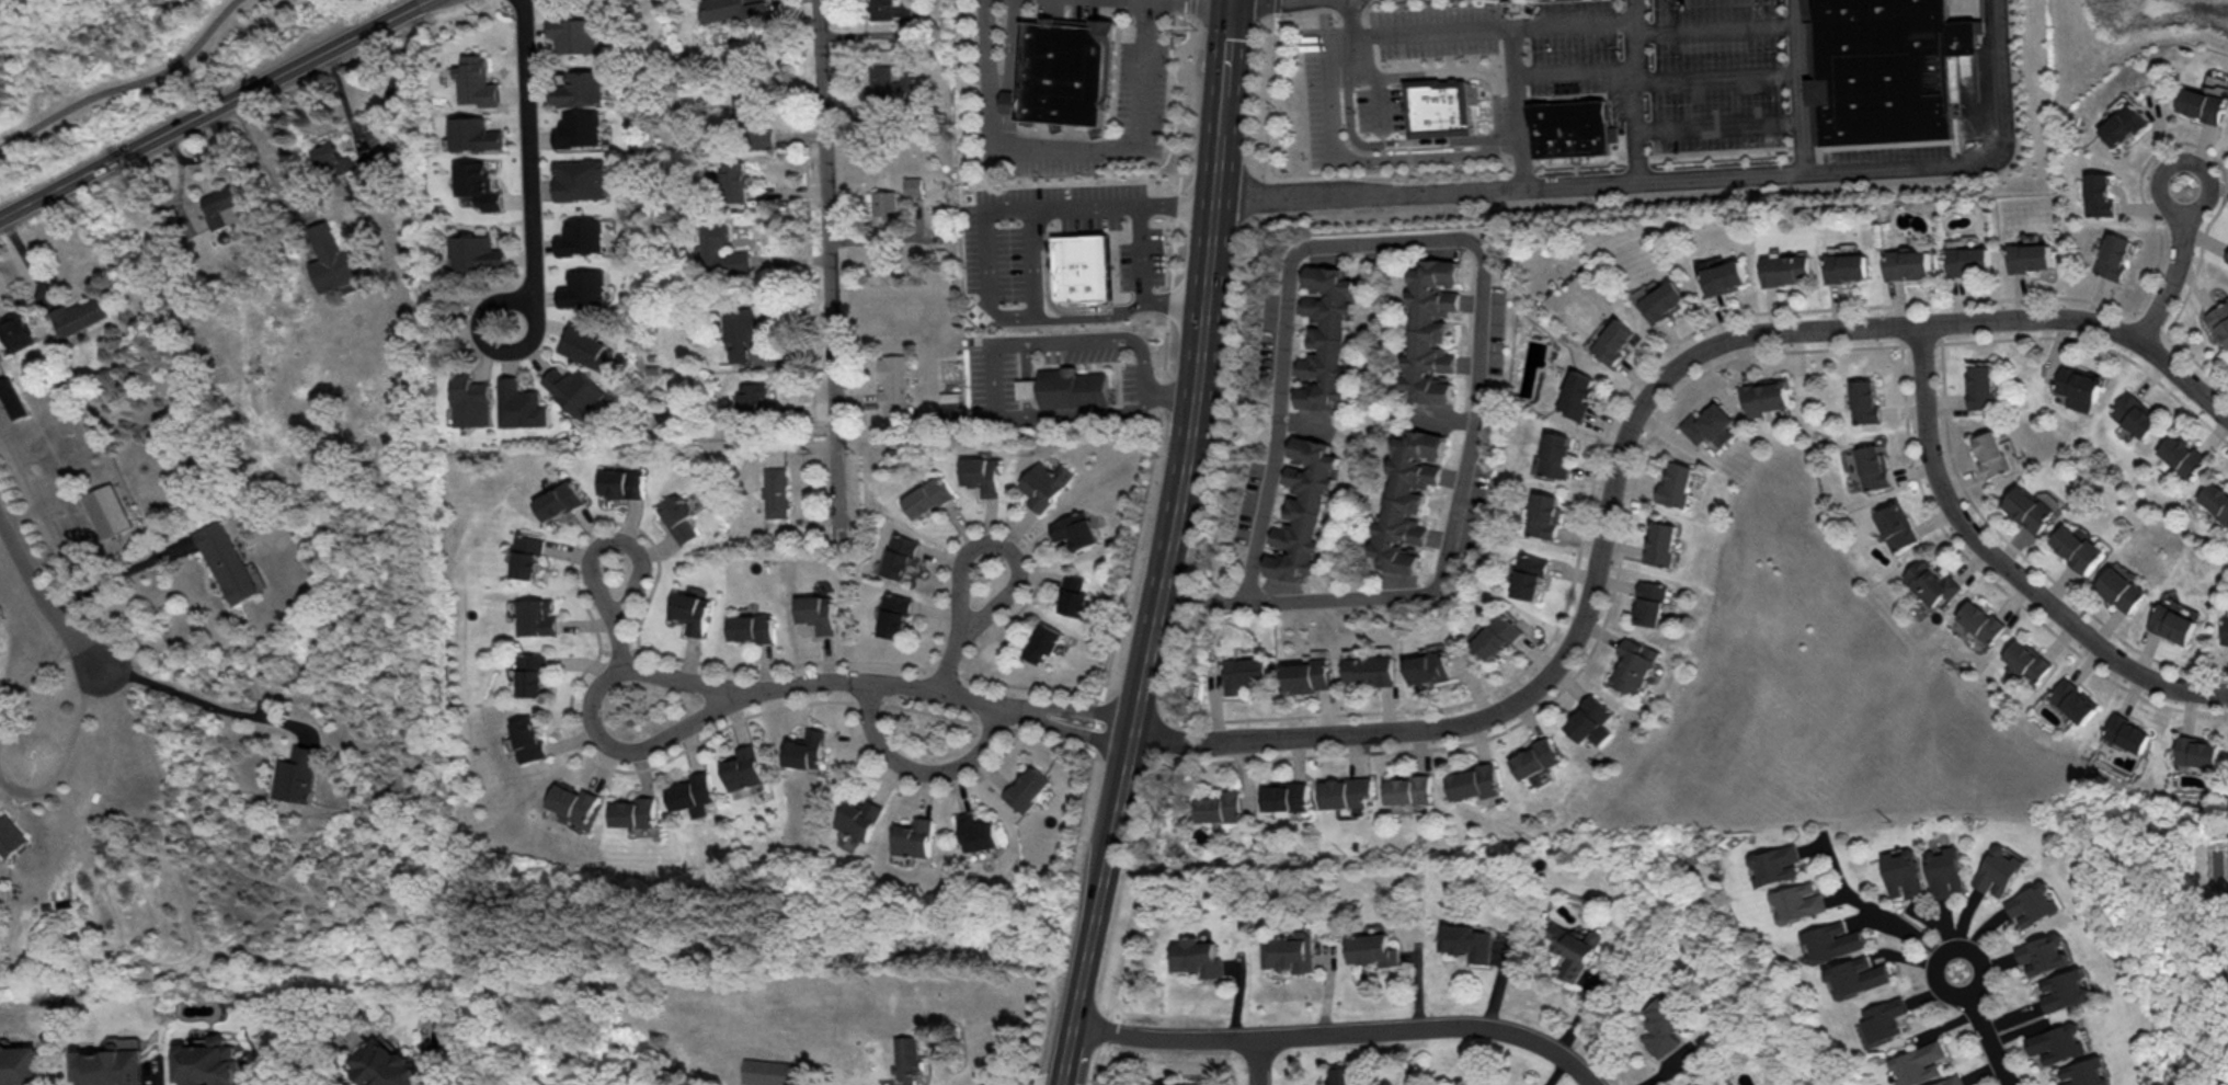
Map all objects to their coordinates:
building: (731, 9)
building: (892, 9)
road: (1567, 23)
road: (1488, 28)
building: (573, 33)
building: (1883, 68)
road: (1572, 70)
park: (138, 71)
building: (1061, 72)
building: (477, 80)
road: (126, 84)
building: (890, 84)
building: (579, 87)
road: (1633, 88)
road: (1222, 100)
building: (2204, 104)
building: (1435, 106)
road: (212, 107)
road: (380, 113)
building: (752, 119)
building: (2124, 124)
building: (1566, 126)
building: (579, 128)
building: (473, 133)
road: (1064, 142)
building: (327, 153)
road: (530, 155)
road: (1972, 158)
building: (580, 178)
building: (735, 179)
road: (1592, 179)
building: (477, 183)
building: (914, 184)
building: (2099, 193)
road: (1151, 201)
building: (884, 202)
building: (221, 206)
building: (581, 236)
building: (715, 244)
road: (1448, 249)
building: (477, 251)
road: (1142, 252)
building: (2030, 255)
building: (2114, 255)
building: (2227, 255)
road: (986, 256)
building: (336, 259)
building: (1969, 259)
building: (740, 260)
building: (1081, 260)
building: (1909, 263)
building: (1848, 265)
road: (829, 267)
building: (1786, 269)
road: (2175, 269)
road: (1271, 271)
building: (1432, 273)
building: (1723, 274)
road: (1475, 284)
building: (583, 287)
road: (1452, 288)
road: (1032, 289)
road: (1249, 298)
building: (1664, 300)
road: (1172, 302)
building: (79, 313)
building: (2220, 320)
building: (19, 329)
building: (740, 331)
building: (1325, 336)
building: (1612, 340)
building: (585, 346)
road: (501, 352)
road: (987, 357)
road: (1199, 357)
building: (2079, 386)
building: (894, 387)
building: (1981, 387)
building: (1067, 388)
building: (575, 390)
road: (1170, 390)
building: (1573, 392)
road: (1257, 393)
building: (1764, 395)
building: (13, 397)
building: (755, 397)
building: (470, 399)
building: (1863, 400)
building: (519, 403)
building: (952, 412)
building: (2135, 413)
road: (1435, 415)
road: (1458, 416)
road: (1305, 423)
building: (1707, 424)
road: (1368, 429)
road: (1156, 433)
road: (1620, 436)
building: (1993, 453)
building: (2182, 453)
building: (1550, 454)
building: (1870, 465)
building: (984, 473)
building: (621, 482)
building: (1670, 482)
building: (1048, 483)
building: (777, 491)
building: (929, 496)
building: (1404, 498)
building: (2216, 499)
building: (559, 500)
building: (2031, 507)
building: (107, 509)
building: (1302, 509)
building: (1538, 514)
building: (678, 517)
building: (1894, 525)
building: (1078, 528)
building: (1652, 541)
building: (2079, 547)
road: (974, 548)
road: (1168, 551)
building: (528, 555)
building: (902, 556)
building: (227, 560)
road: (2003, 564)
road: (117, 574)
building: (1523, 575)
building: (1928, 581)
building: (2123, 587)
building: (1076, 594)
road: (39, 596)
road: (615, 598)
building: (1642, 602)
building: (692, 610)
building: (820, 612)
building: (896, 615)
building: (537, 616)
building: (1978, 620)
building: (2174, 620)
building: (752, 626)
building: (2227, 633)
building: (1492, 636)
building: (1048, 641)
road: (1145, 660)
building: (2024, 661)
building: (1624, 664)
building: (1425, 666)
building: (1367, 669)
building: (1244, 672)
building: (533, 673)
building: (1306, 674)
road: (28, 679)
road: (933, 690)
road: (202, 698)
building: (2071, 699)
road: (590, 716)
building: (1581, 720)
building: (2125, 732)
building: (529, 738)
building: (809, 749)
building: (2195, 750)
road: (66, 756)
building: (1529, 757)
building: (744, 767)
road: (922, 769)
building: (297, 774)
building: (1469, 781)
building: (1029, 787)
building: (1406, 788)
building: (1344, 791)
building: (694, 793)
building: (1283, 795)
building: (574, 802)
building: (1220, 806)
building: (636, 811)
building: (861, 816)
building: (980, 831)
building: (10, 835)
building: (916, 836)
building: (1774, 864)
building: (2000, 870)
building: (1904, 871)
building: (1946, 871)
road: (1099, 877)
building: (1798, 901)
building: (2034, 903)
road: (1871, 910)
building: (1465, 940)
building: (1832, 940)
road: (1952, 947)
building: (1372, 948)
building: (1573, 948)
building: (1289, 951)
building: (2044, 952)
building: (1199, 957)
building: (1858, 975)
building: (2066, 989)
building: (1883, 1018)
building: (1664, 1024)
road: (1339, 1030)
road: (1989, 1040)
building: (2056, 1042)
road: (1064, 1053)
building: (907, 1058)
building: (207, 1061)
road: (1260, 1061)
building: (1918, 1062)
building: (20, 1064)
building: (387, 1064)
building: (768, 1071)
building: (2084, 1072)
building: (1347, 1076)
road: (1020, 1077)
building: (1950, 1081)
building: (1701, 1083)
building: (1176, 1084)

